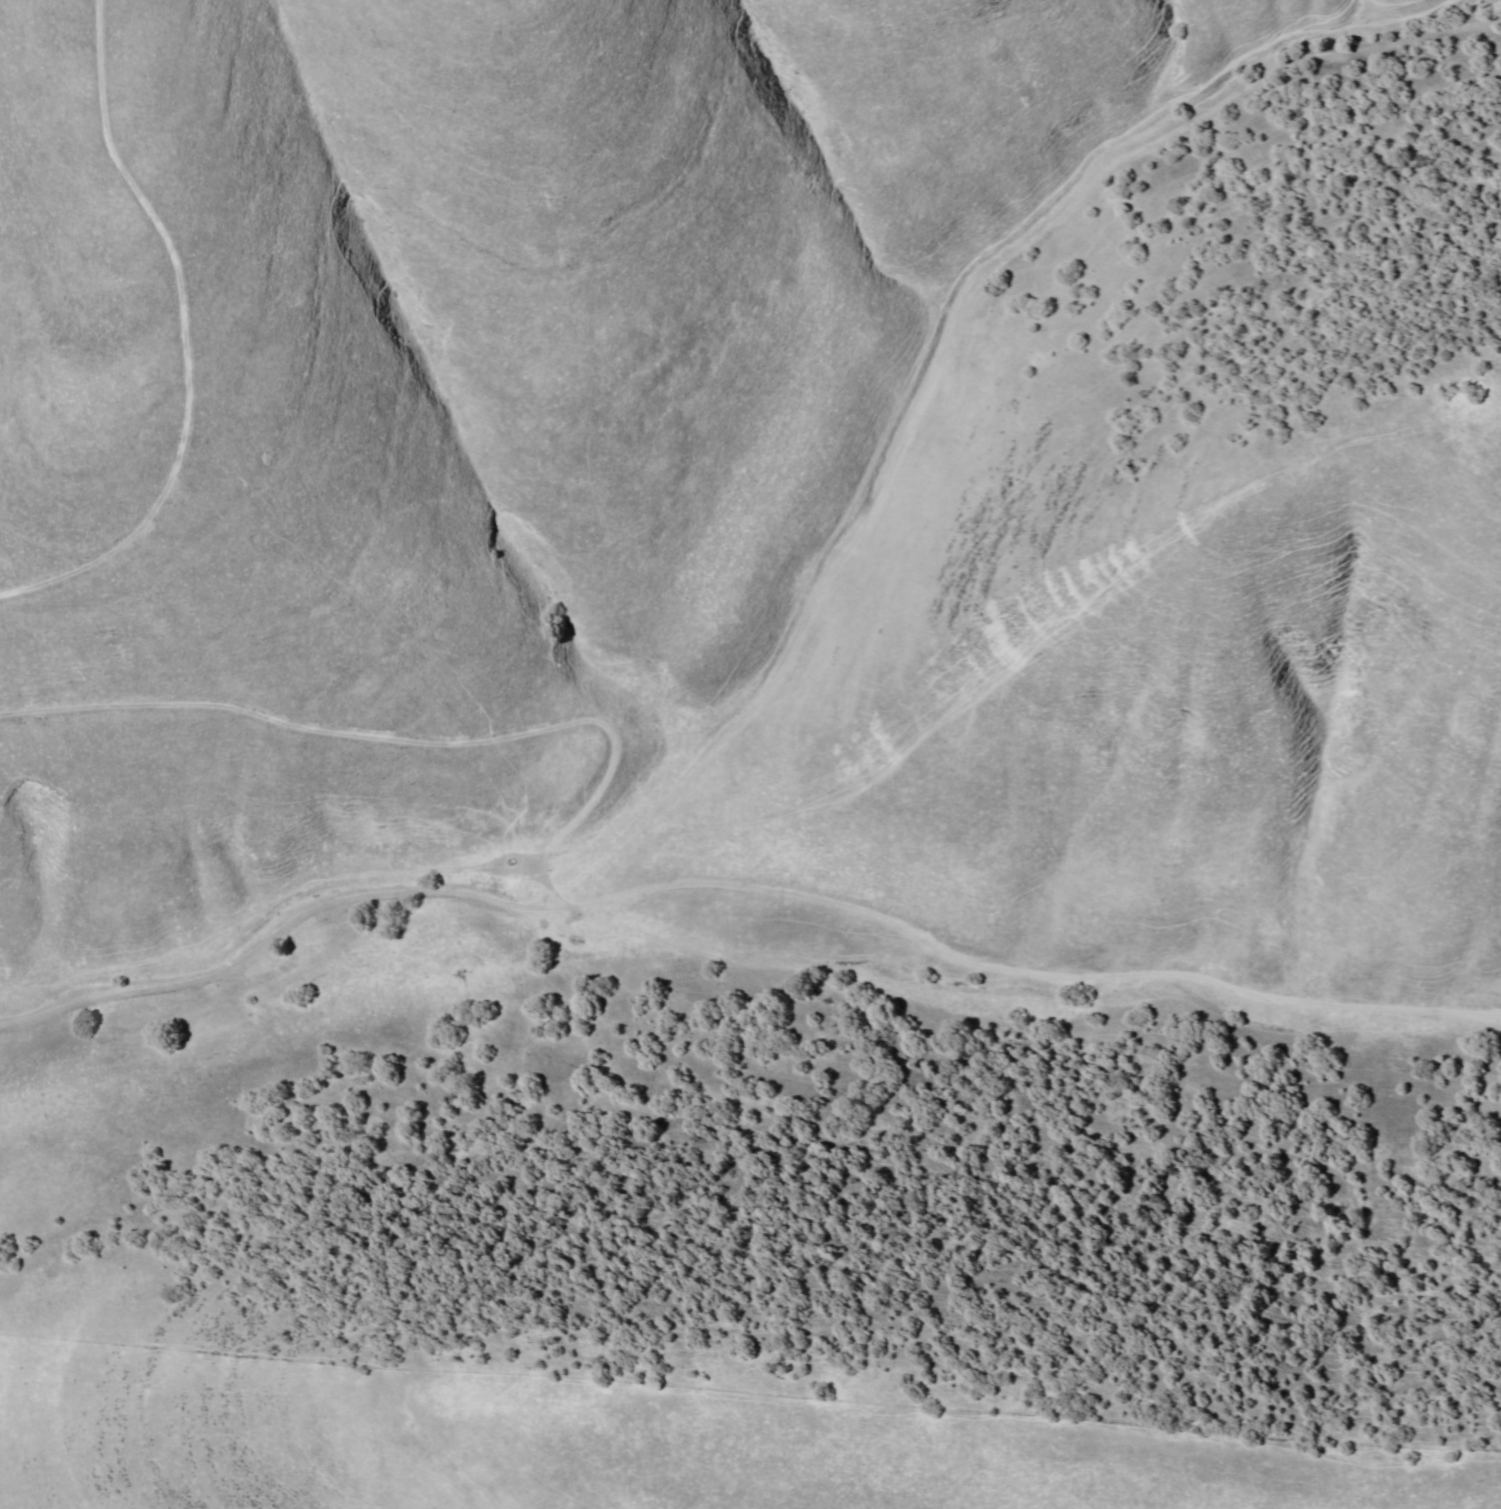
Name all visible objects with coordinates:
road: (194, 349)
road: (958, 400)
road: (582, 817)
road: (1082, 968)

